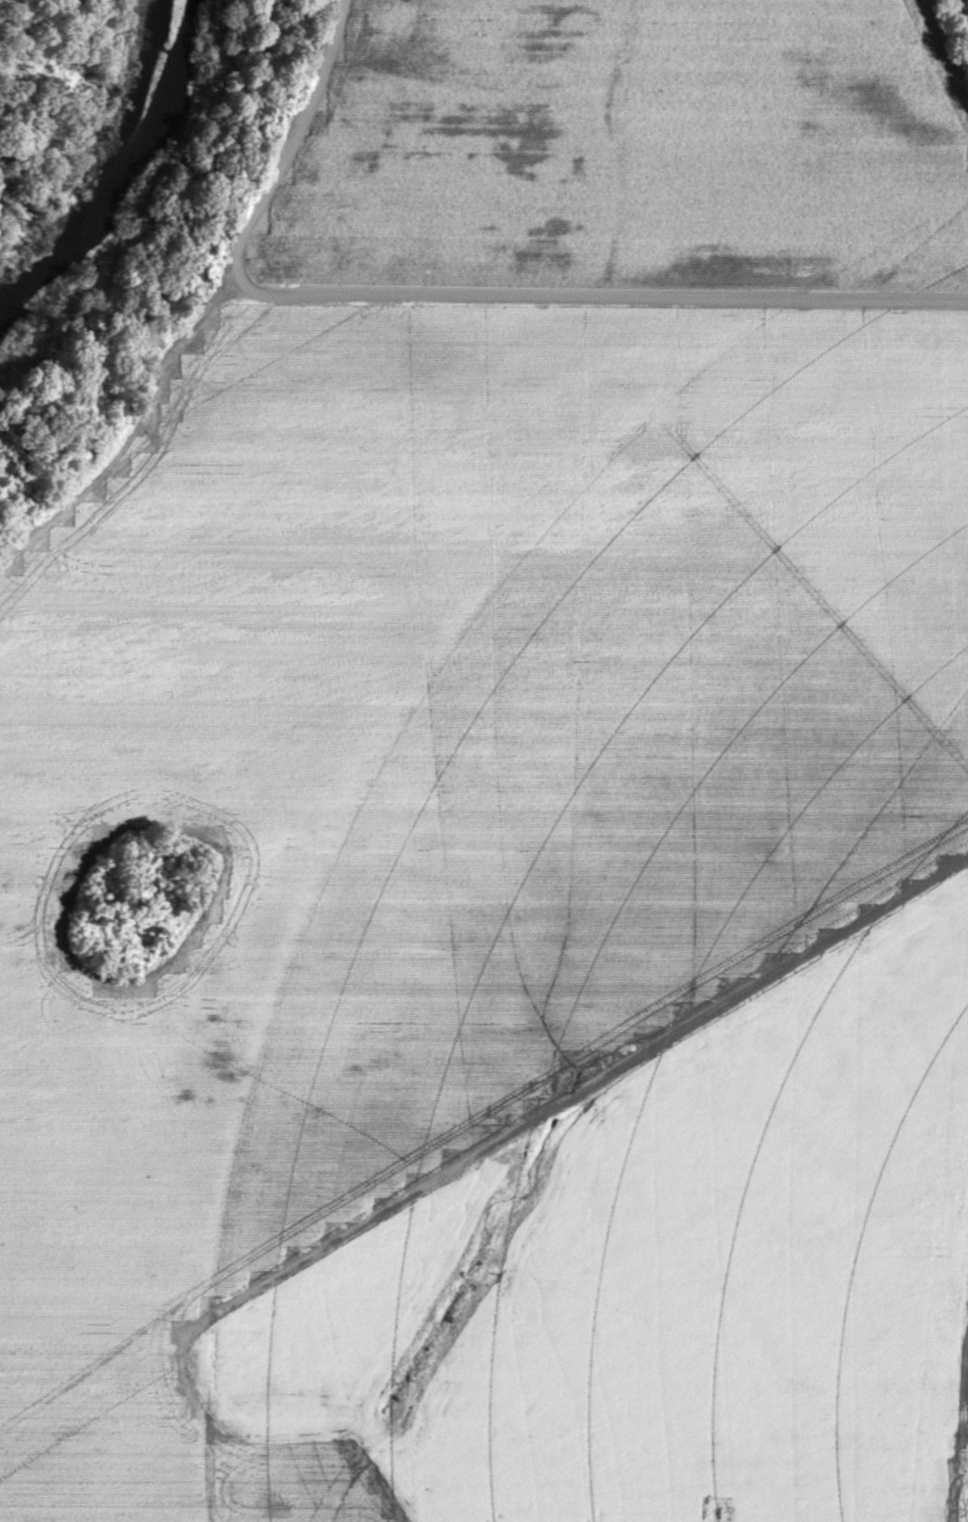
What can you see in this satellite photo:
railway: (961, 13)
river: (122, 169)
road: (448, 297)
road: (482, 1153)
road: (909, 1334)
road: (328, 1390)

